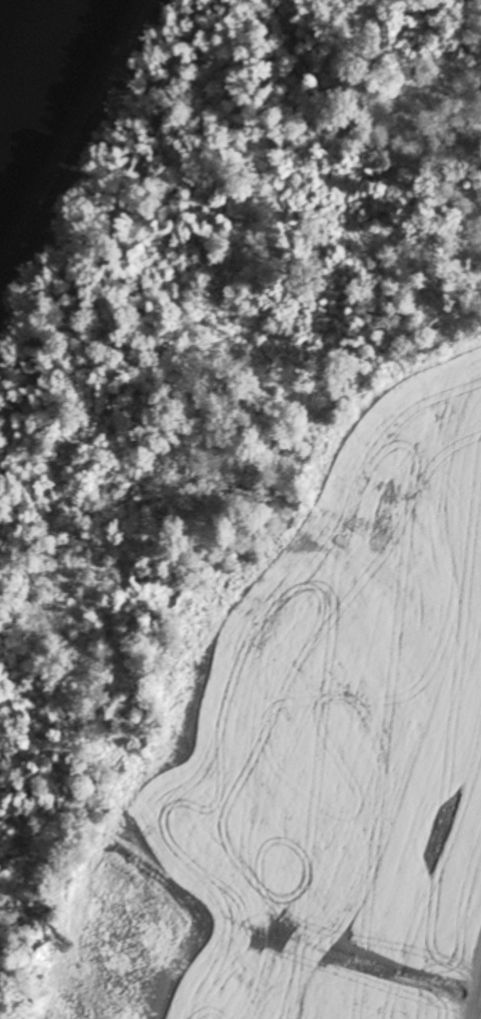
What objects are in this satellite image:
road: (475, 1000)

